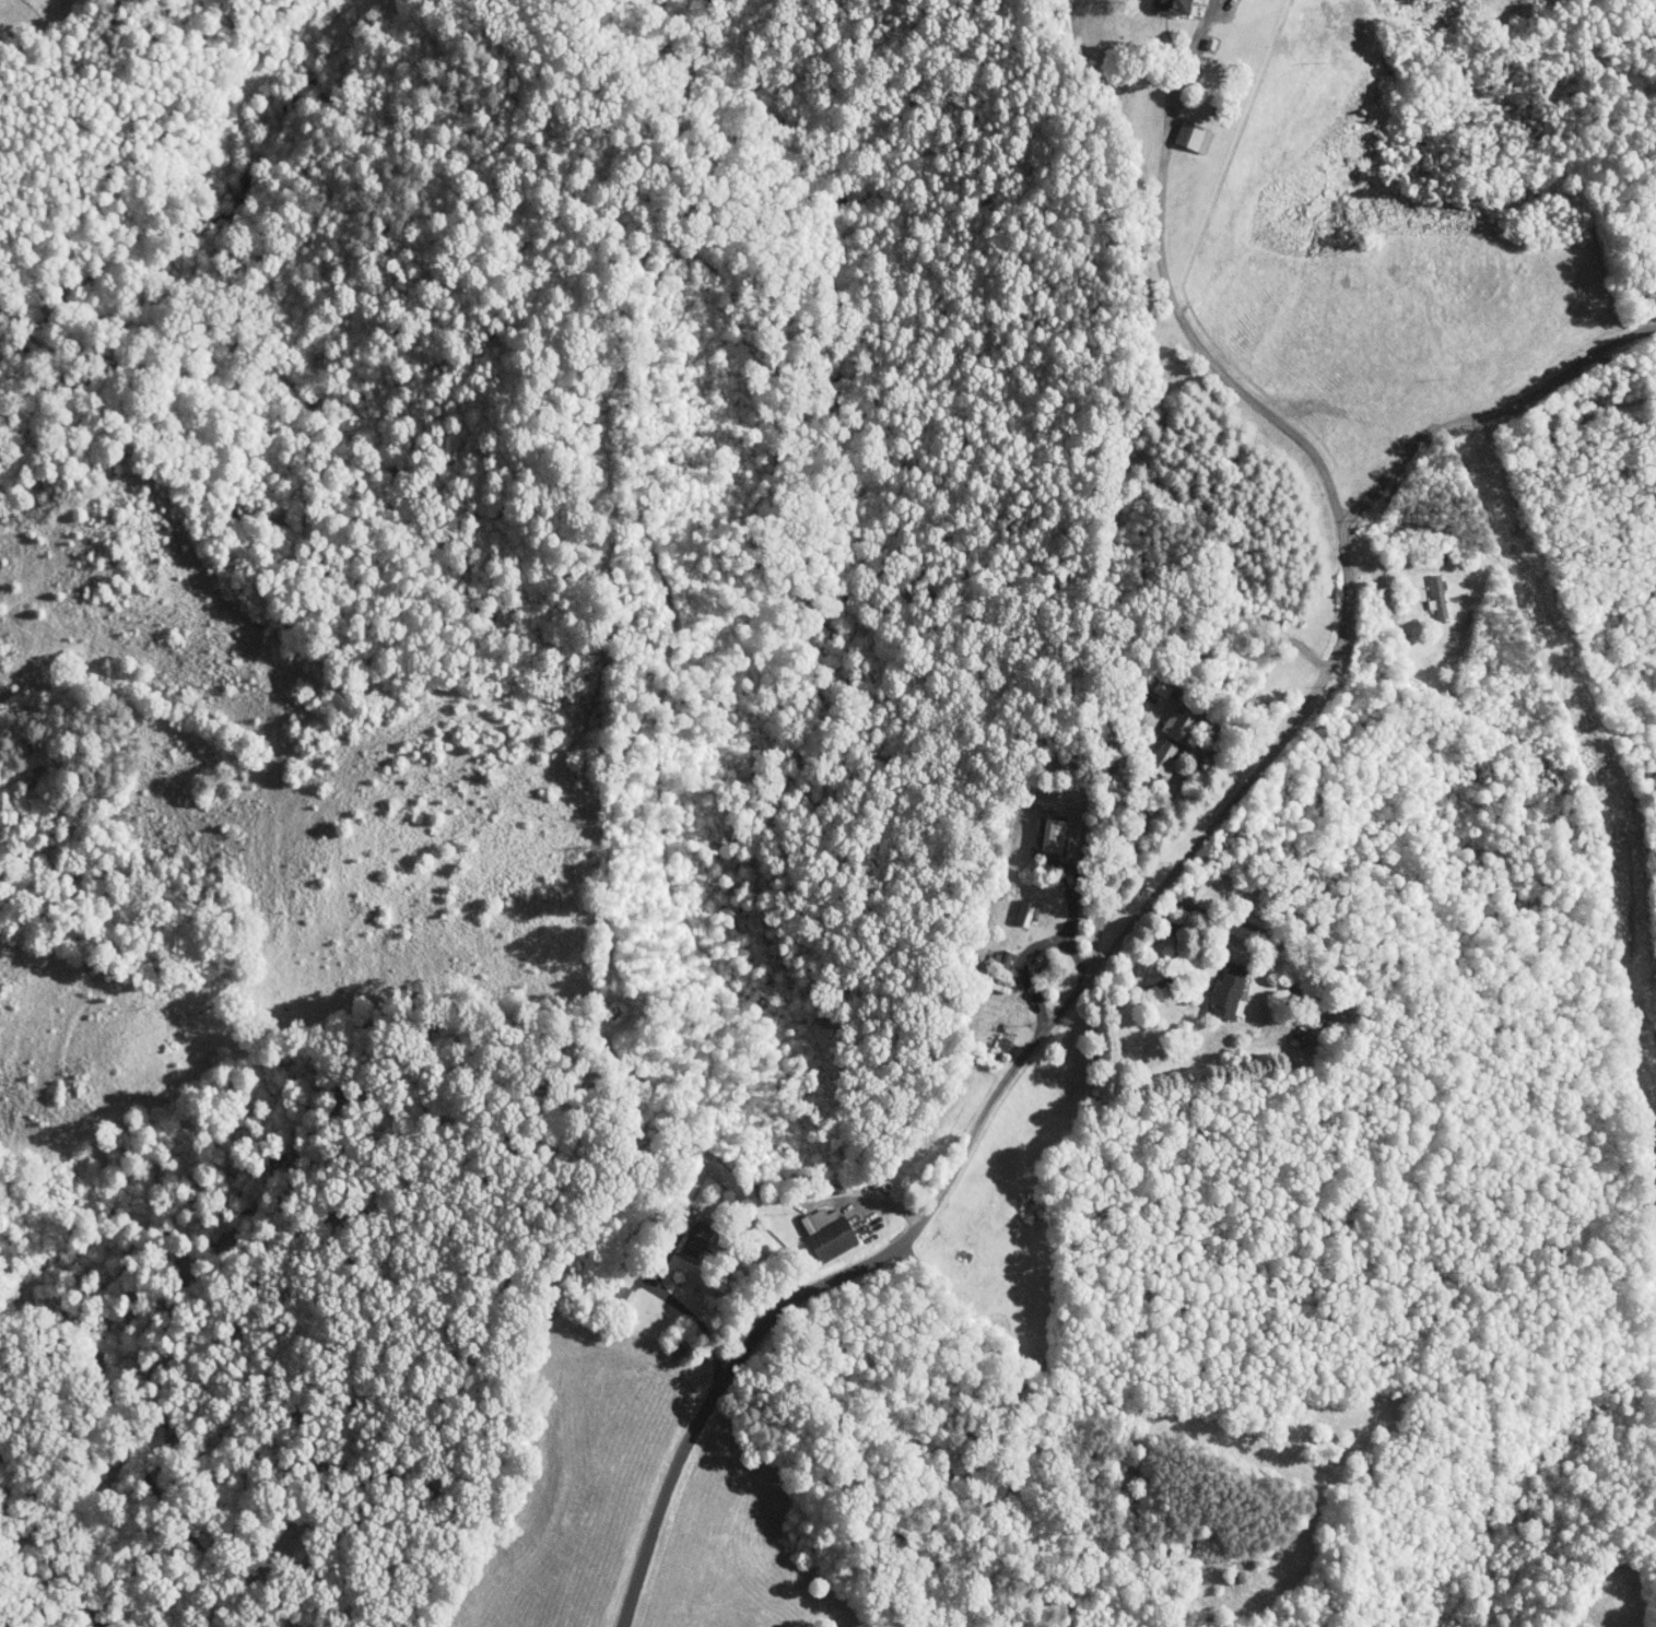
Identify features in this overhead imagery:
building: (1158, 3)
building: (1176, 130)
road: (1480, 421)
building: (1423, 592)
building: (1152, 733)
building: (1038, 829)
road: (1188, 856)
road: (1095, 922)
building: (1210, 985)
building: (811, 1227)
building: (679, 1234)
building: (607, 1287)
road: (702, 1325)

